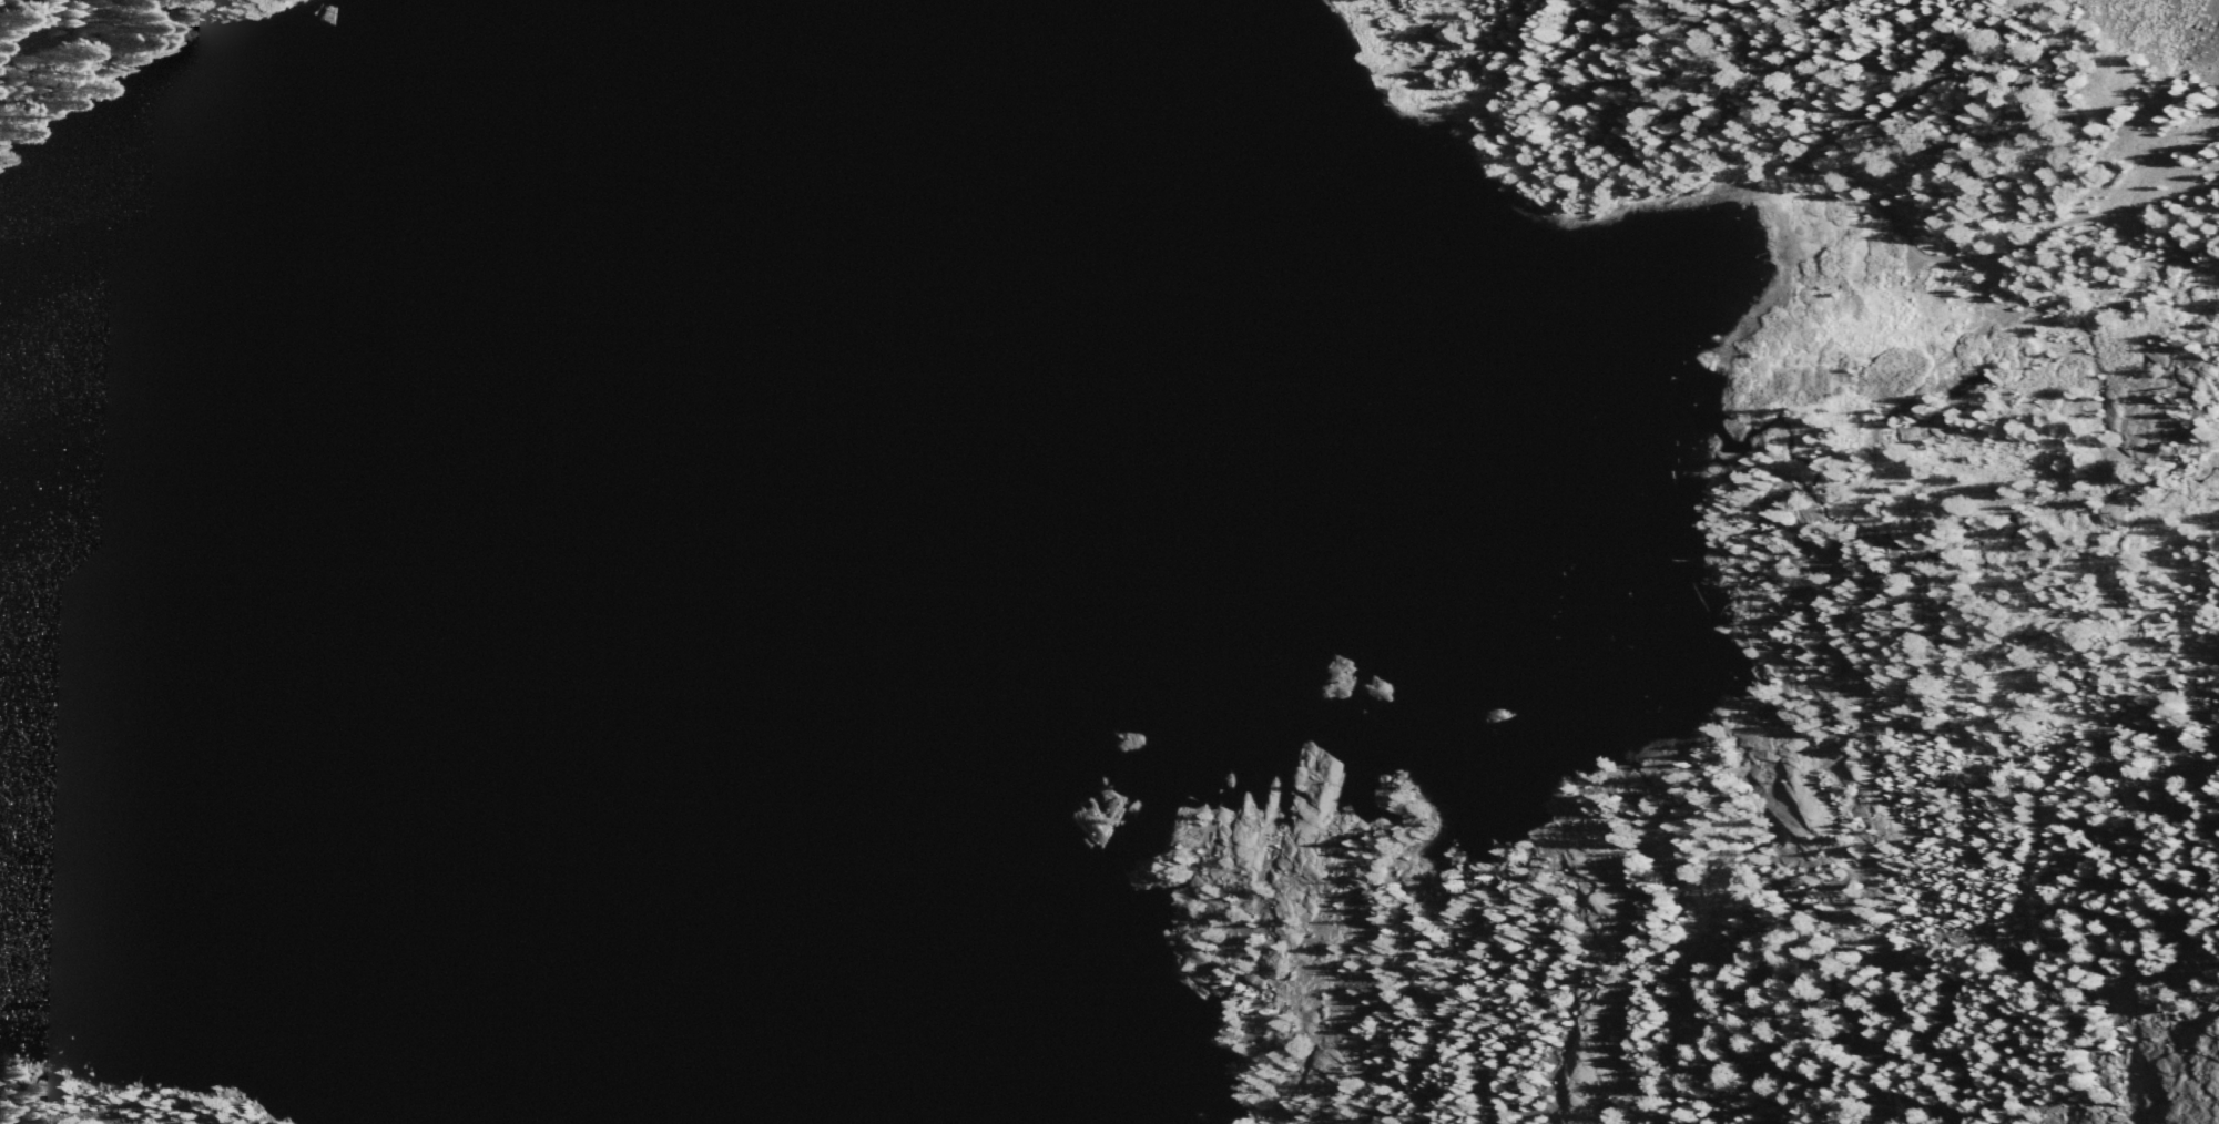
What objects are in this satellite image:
road: (1801, 167)
road: (1822, 457)
road: (1934, 974)
road: (133, 1107)

